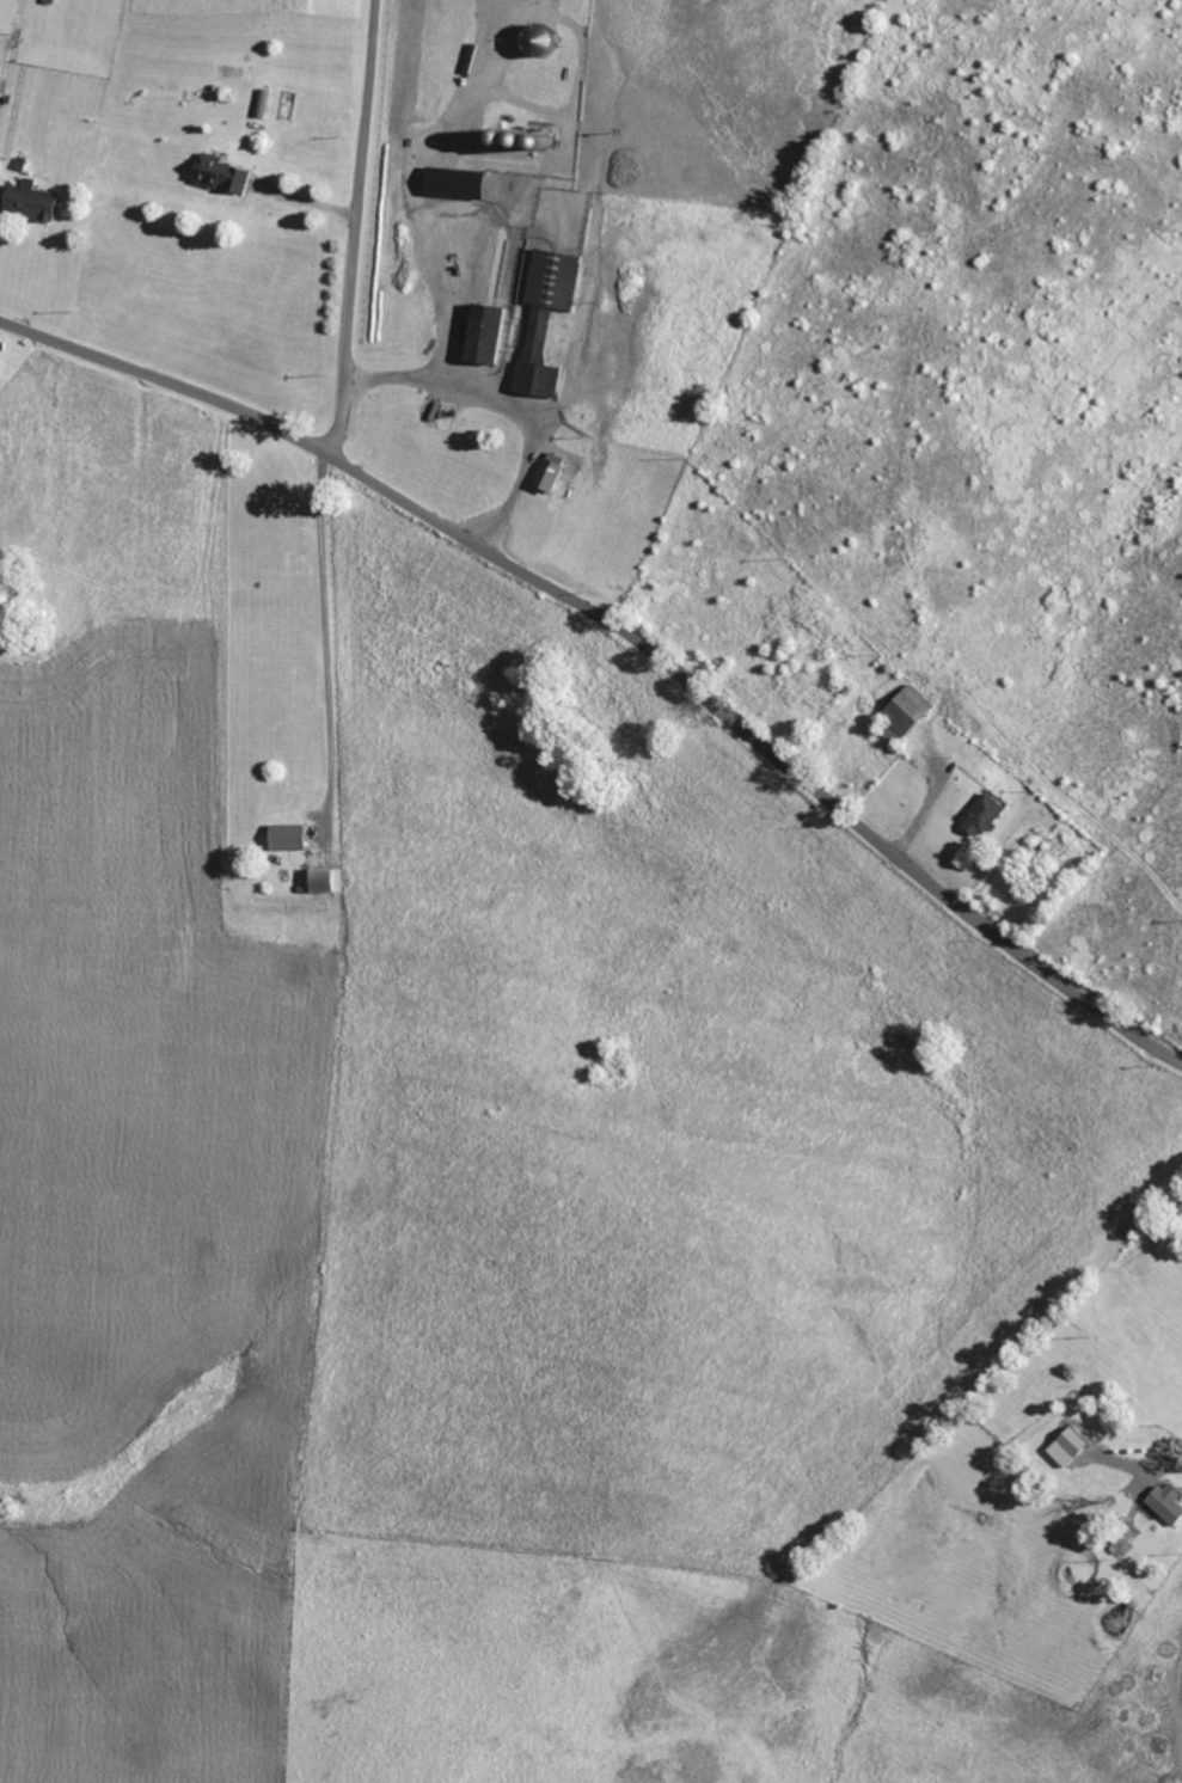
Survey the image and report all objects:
building: (535, 42)
building: (220, 176)
building: (451, 184)
building: (37, 202)
road: (360, 227)
building: (543, 319)
building: (480, 336)
building: (2, 369)
road: (506, 405)
building: (549, 478)
road: (325, 624)
road: (625, 629)
building: (901, 712)
building: (980, 816)
building: (284, 838)
building: (323, 881)
building: (1065, 1447)
building: (1166, 1505)
road: (1149, 1659)

